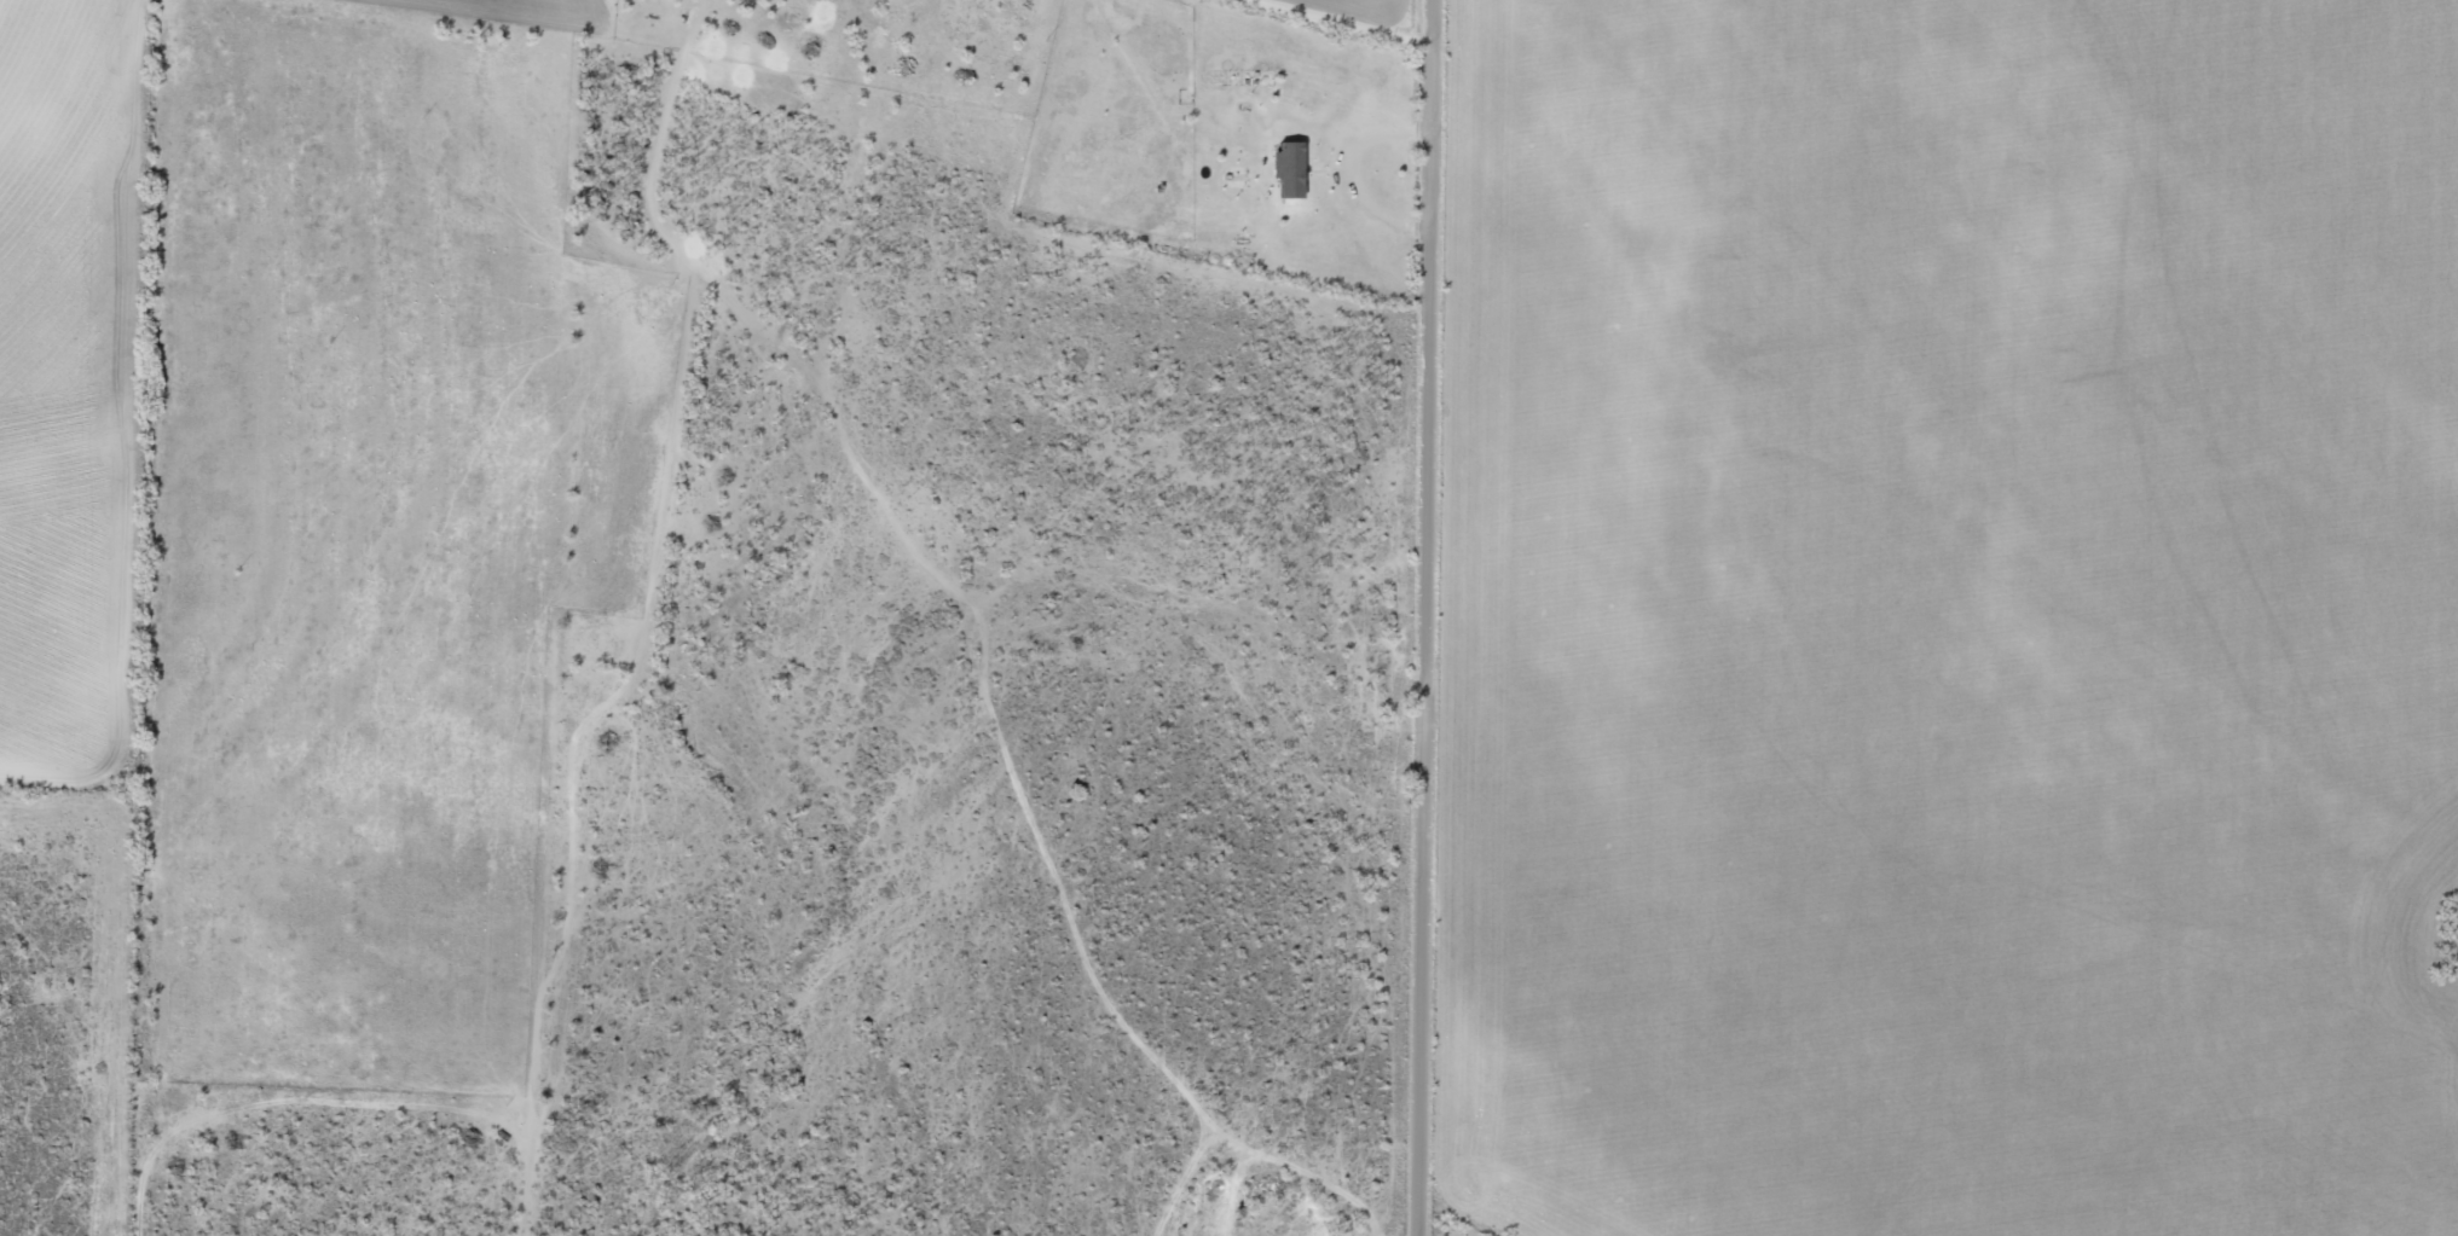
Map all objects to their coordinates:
road: (1283, 51)
road: (683, 191)
road: (799, 383)
road: (1425, 617)

